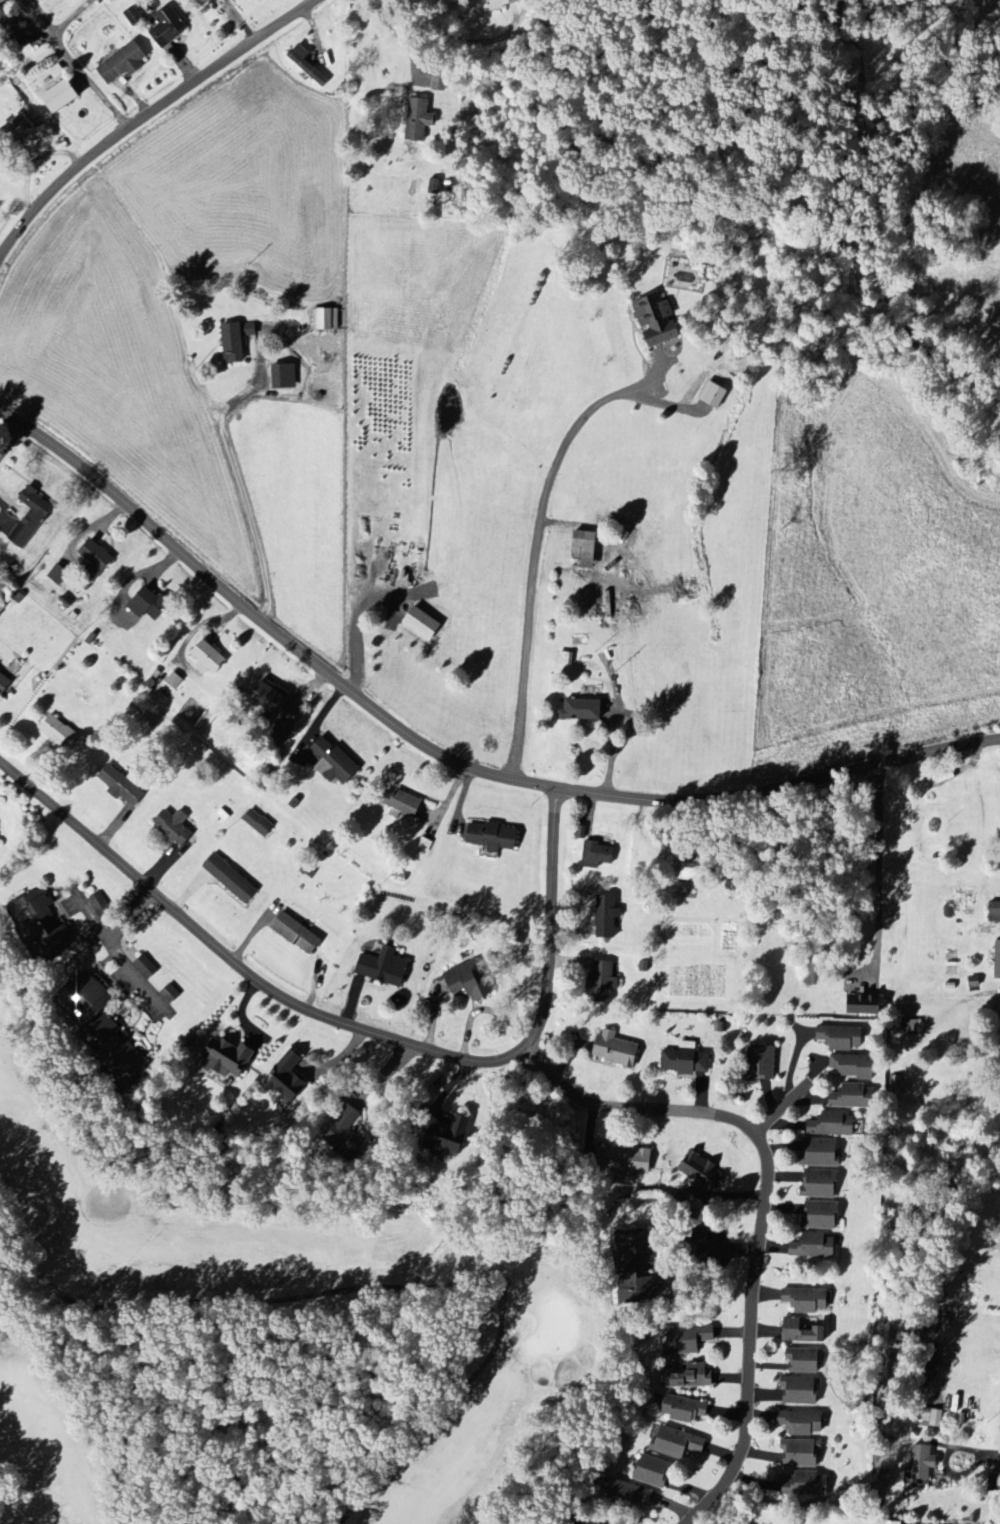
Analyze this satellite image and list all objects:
building: (217, 1)
building: (499, 4)
building: (132, 16)
building: (167, 27)
road: (72, 63)
building: (123, 63)
building: (306, 65)
building: (439, 79)
building: (61, 97)
road: (147, 115)
building: (417, 120)
building: (19, 129)
building: (434, 187)
building: (324, 320)
building: (657, 321)
building: (236, 341)
building: (284, 377)
building: (714, 396)
park: (0, 429)
road: (12, 441)
road: (238, 479)
building: (30, 518)
building: (585, 546)
road: (532, 553)
building: (97, 556)
building: (58, 575)
building: (149, 605)
building: (422, 624)
building: (209, 659)
building: (174, 682)
building: (4, 684)
building: (270, 697)
building: (581, 711)
building: (58, 733)
road: (447, 755)
building: (334, 762)
building: (121, 787)
building: (401, 804)
building: (257, 823)
building: (174, 827)
building: (493, 838)
building: (598, 855)
road: (879, 869)
building: (230, 879)
building: (100, 905)
road: (90, 911)
building: (995, 913)
building: (607, 917)
building: (40, 926)
building: (297, 934)
road: (110, 941)
building: (998, 961)
building: (146, 967)
building: (384, 968)
building: (604, 980)
building: (469, 981)
building: (171, 994)
building: (866, 1005)
building: (92, 1011)
road: (354, 1026)
building: (841, 1038)
building: (615, 1050)
building: (226, 1058)
building: (687, 1060)
building: (763, 1064)
building: (127, 1066)
building: (853, 1066)
building: (289, 1078)
building: (852, 1097)
road: (779, 1109)
building: (832, 1125)
building: (348, 1135)
building: (449, 1138)
building: (820, 1153)
building: (625, 1161)
building: (700, 1176)
building: (819, 1184)
road: (761, 1207)
building: (821, 1215)
building: (814, 1247)
road: (718, 1248)
building: (635, 1264)
building: (806, 1301)
building: (802, 1332)
park: (265, 1339)
building: (686, 1340)
building: (803, 1361)
building: (688, 1378)
building: (799, 1391)
building: (683, 1410)
building: (931, 1420)
building: (802, 1423)
building: (677, 1443)
building: (801, 1453)
road: (993, 1453)
building: (920, 1467)
road: (945, 1468)
building: (653, 1472)
building: (807, 1485)
building: (630, 1495)
building: (587, 1522)
building: (891, 1523)

